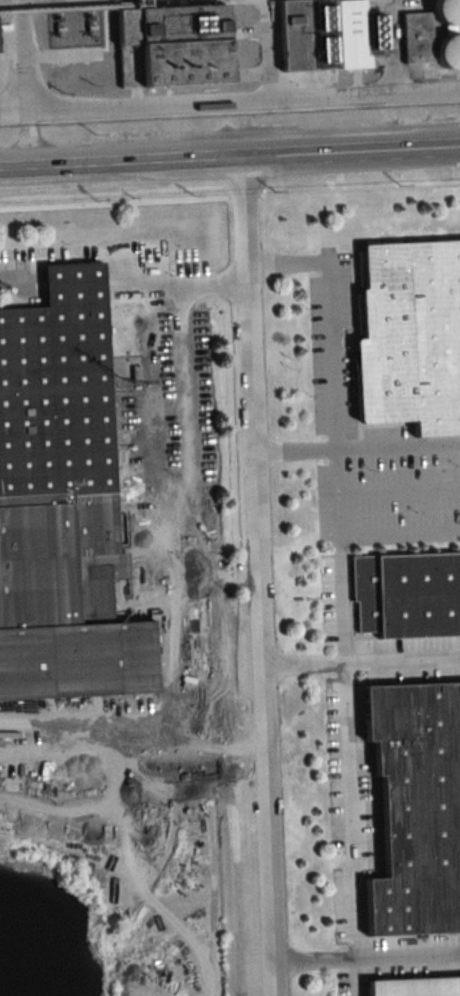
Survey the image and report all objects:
building: (450, 13)
power substation: (75, 27)
building: (309, 36)
building: (417, 39)
building: (168, 44)
building: (452, 57)
road: (25, 86)
road: (244, 102)
road: (14, 113)
road: (310, 157)
road: (81, 170)
road: (17, 280)
road: (146, 287)
road: (330, 311)
building: (411, 335)
building: (58, 385)
road: (182, 430)
road: (356, 447)
road: (73, 516)
road: (141, 577)
road: (257, 578)
building: (407, 595)
road: (76, 644)
road: (360, 660)
road: (345, 722)
building: (5, 743)
building: (416, 809)
road: (366, 956)
building: (416, 987)

